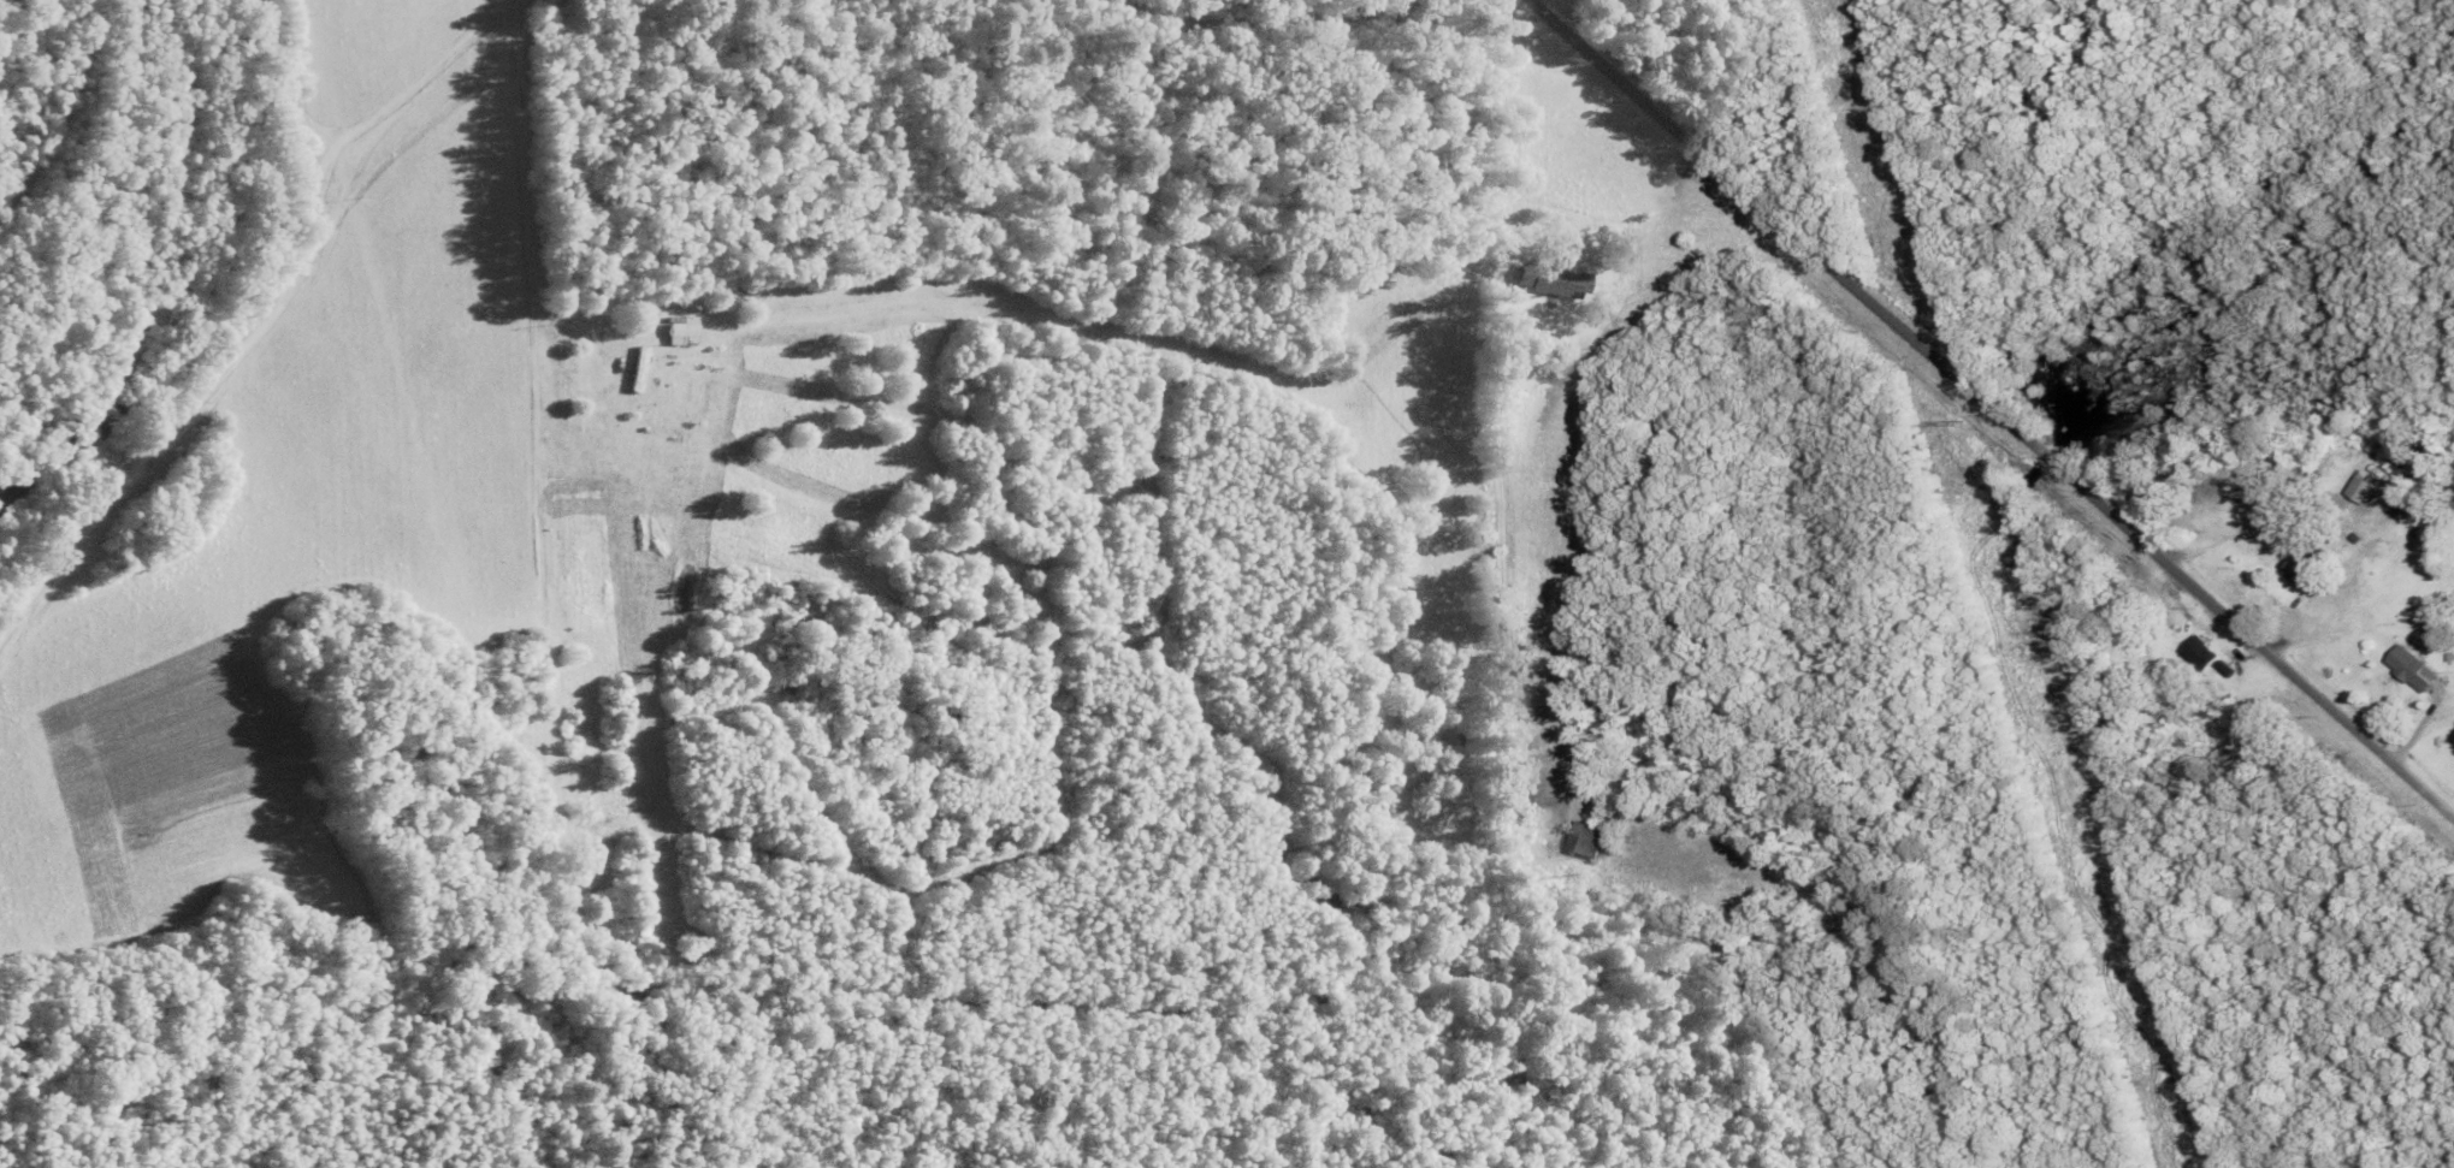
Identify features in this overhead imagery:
road: (1224, 32)
building: (1559, 284)
building: (685, 331)
building: (638, 369)
building: (2363, 491)
building: (2301, 570)
building: (2208, 641)
building: (2413, 669)
building: (1555, 675)
building: (1587, 842)

